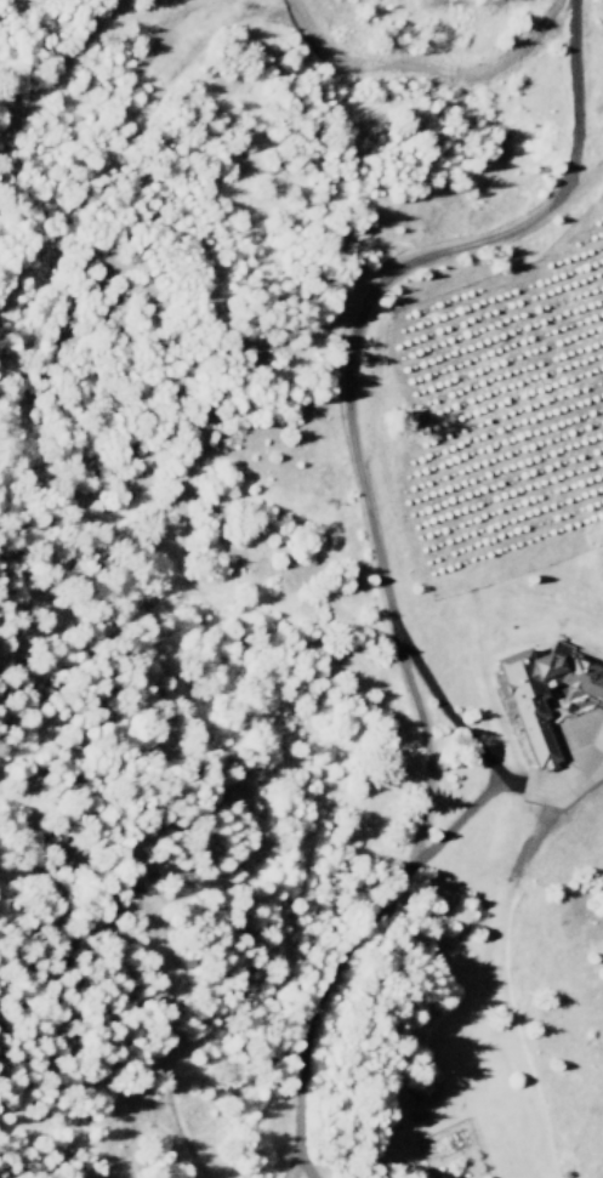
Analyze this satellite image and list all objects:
road: (576, 177)
road: (370, 546)
building: (533, 693)
building: (569, 728)
road: (303, 1159)

